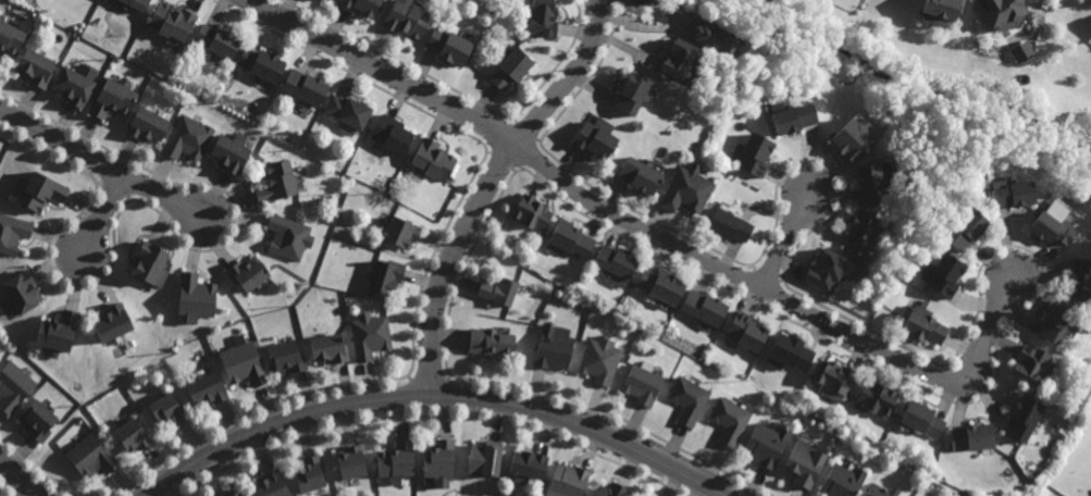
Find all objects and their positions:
building: (641, 1)
building: (134, 4)
building: (360, 5)
building: (941, 11)
building: (1002, 13)
building: (543, 18)
building: (407, 20)
building: (172, 23)
building: (714, 37)
building: (10, 38)
building: (216, 41)
building: (448, 47)
building: (675, 61)
building: (261, 65)
building: (35, 69)
building: (511, 69)
building: (74, 87)
building: (305, 88)
building: (630, 95)
building: (113, 98)
building: (348, 112)
building: (791, 117)
building: (147, 126)
building: (392, 135)
building: (188, 138)
building: (852, 140)
building: (593, 141)
building: (230, 156)
building: (752, 156)
building: (433, 161)
road: (103, 168)
building: (640, 176)
building: (276, 183)
building: (872, 183)
road: (489, 185)
building: (685, 189)
building: (41, 191)
building: (1008, 196)
building: (531, 212)
road: (100, 215)
building: (1049, 223)
building: (727, 225)
building: (964, 227)
building: (859, 230)
building: (12, 231)
building: (400, 231)
road: (647, 232)
building: (288, 236)
building: (568, 237)
road: (785, 240)
building: (612, 260)
building: (150, 262)
building: (827, 269)
building: (942, 272)
building: (247, 273)
building: (385, 276)
building: (1078, 276)
building: (659, 286)
building: (21, 289)
building: (498, 289)
building: (195, 296)
building: (8, 307)
building: (702, 307)
building: (1055, 320)
building: (111, 321)
building: (923, 323)
building: (55, 330)
building: (745, 331)
building: (370, 335)
building: (492, 343)
building: (328, 347)
building: (554, 347)
building: (789, 352)
building: (286, 357)
building: (598, 358)
building: (243, 361)
building: (1029, 364)
building: (834, 377)
building: (640, 383)
building: (13, 386)
building: (207, 387)
road: (444, 393)
building: (877, 397)
building: (687, 398)
building: (168, 410)
building: (726, 418)
building: (921, 418)
building: (1022, 418)
building: (38, 419)
building: (132, 435)
building: (971, 436)
building: (764, 444)
building: (91, 456)
building: (396, 458)
building: (484, 458)
building: (438, 459)
building: (350, 461)
building: (804, 462)
building: (529, 463)
building: (308, 473)
road: (23, 475)
building: (567, 480)
building: (840, 481)
building: (269, 485)
building: (609, 491)
building: (880, 491)
building: (232, 493)

